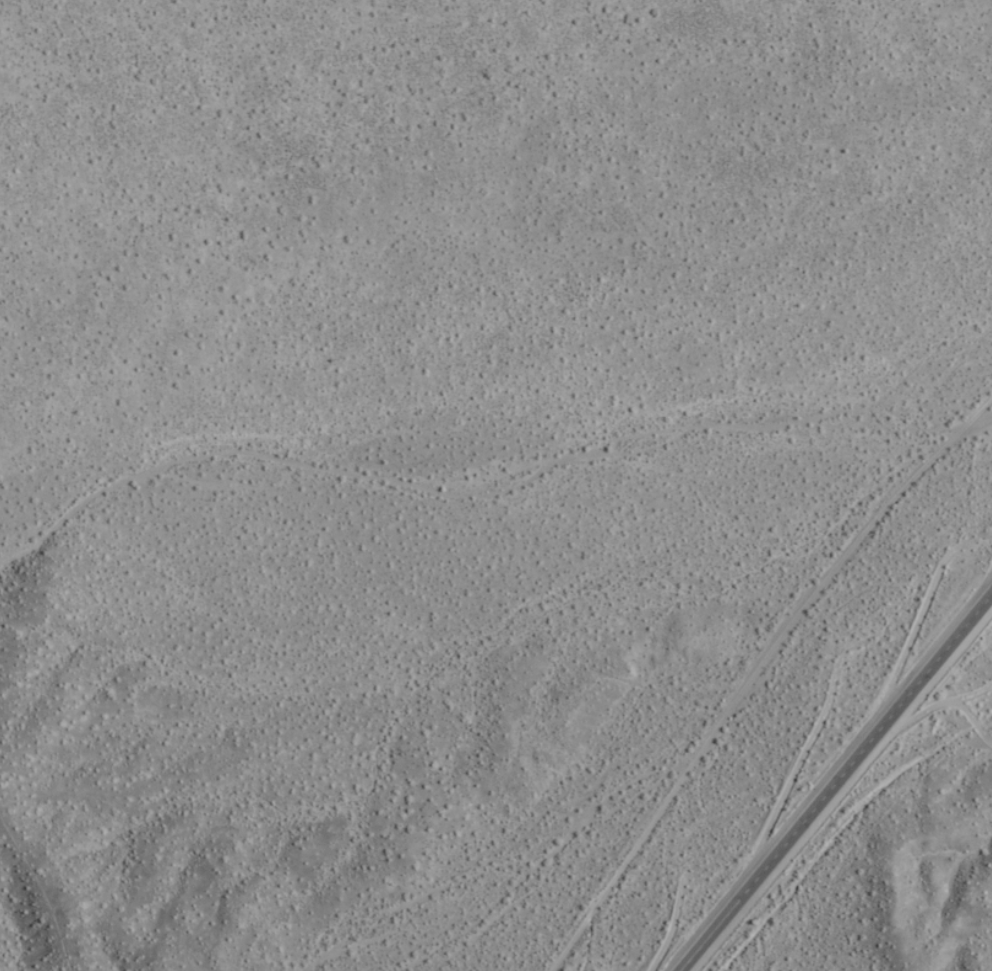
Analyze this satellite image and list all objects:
road: (837, 783)

